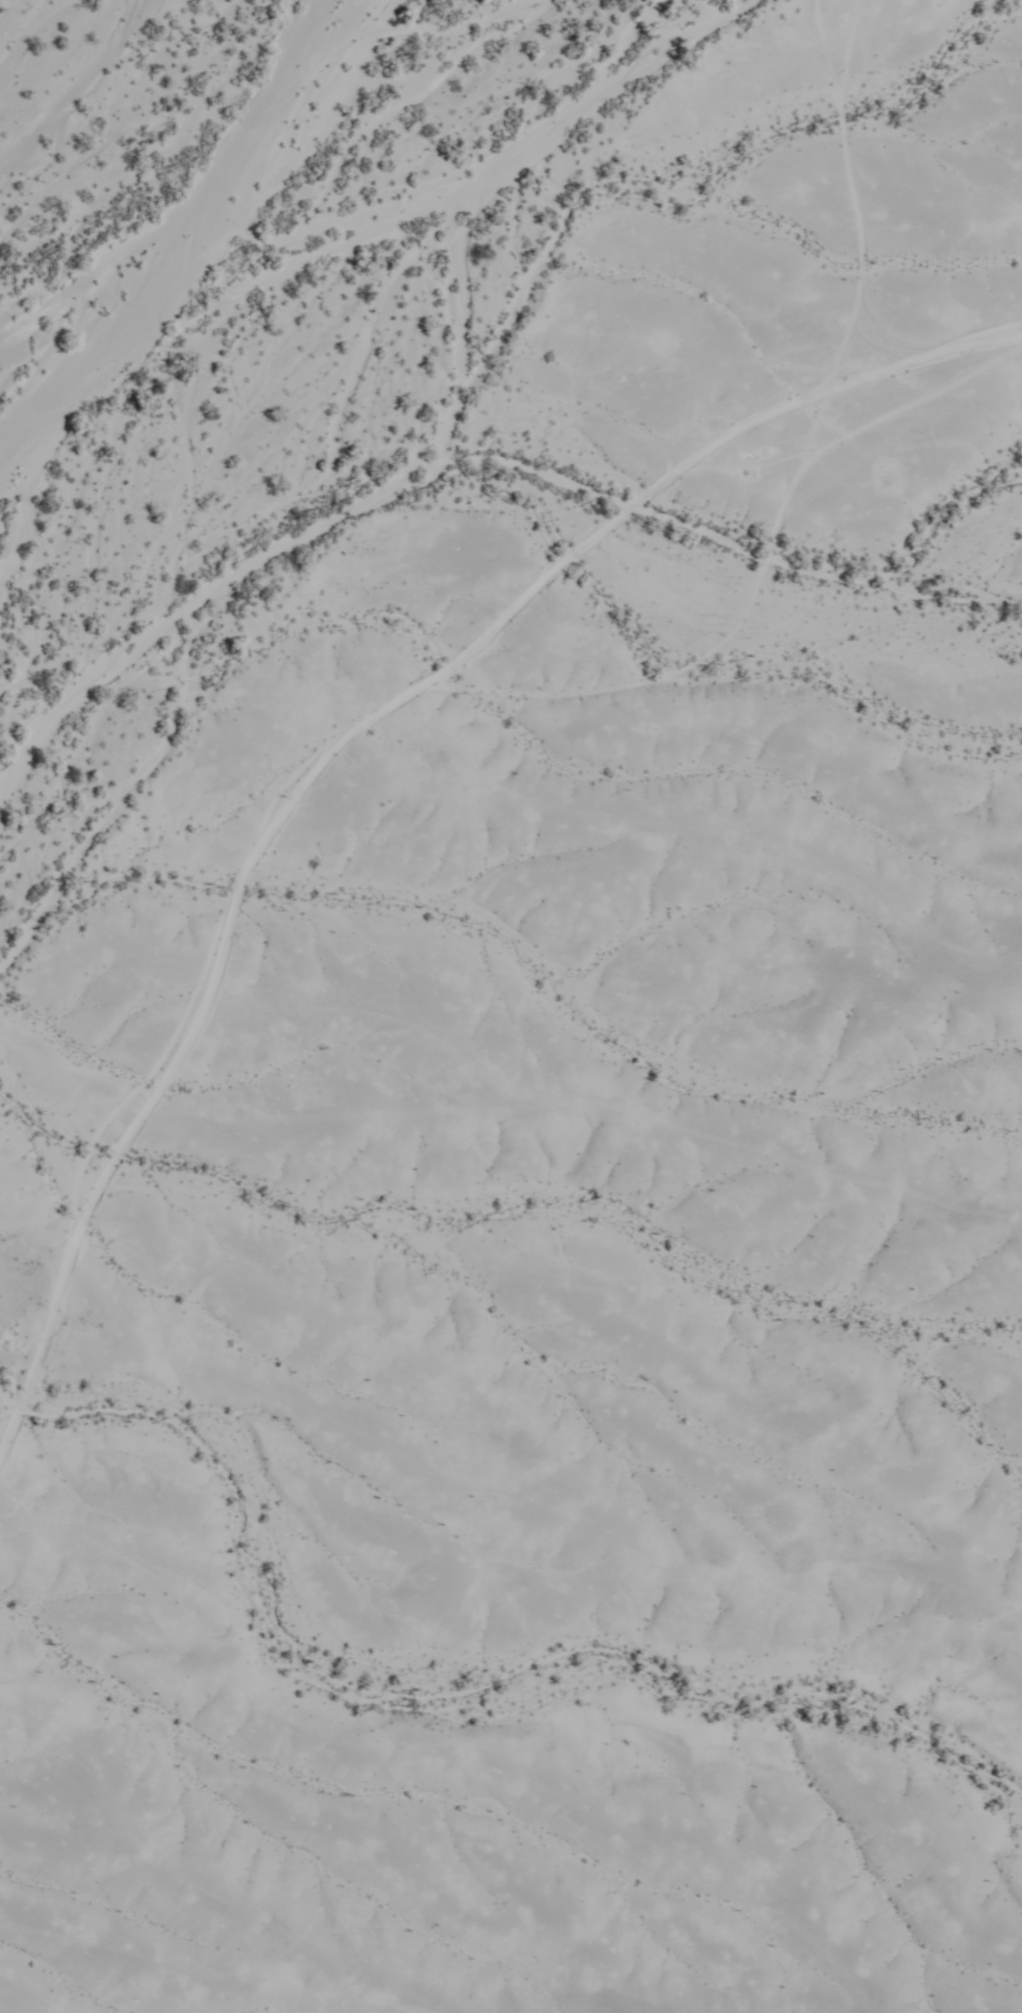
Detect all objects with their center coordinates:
road: (343, 752)

